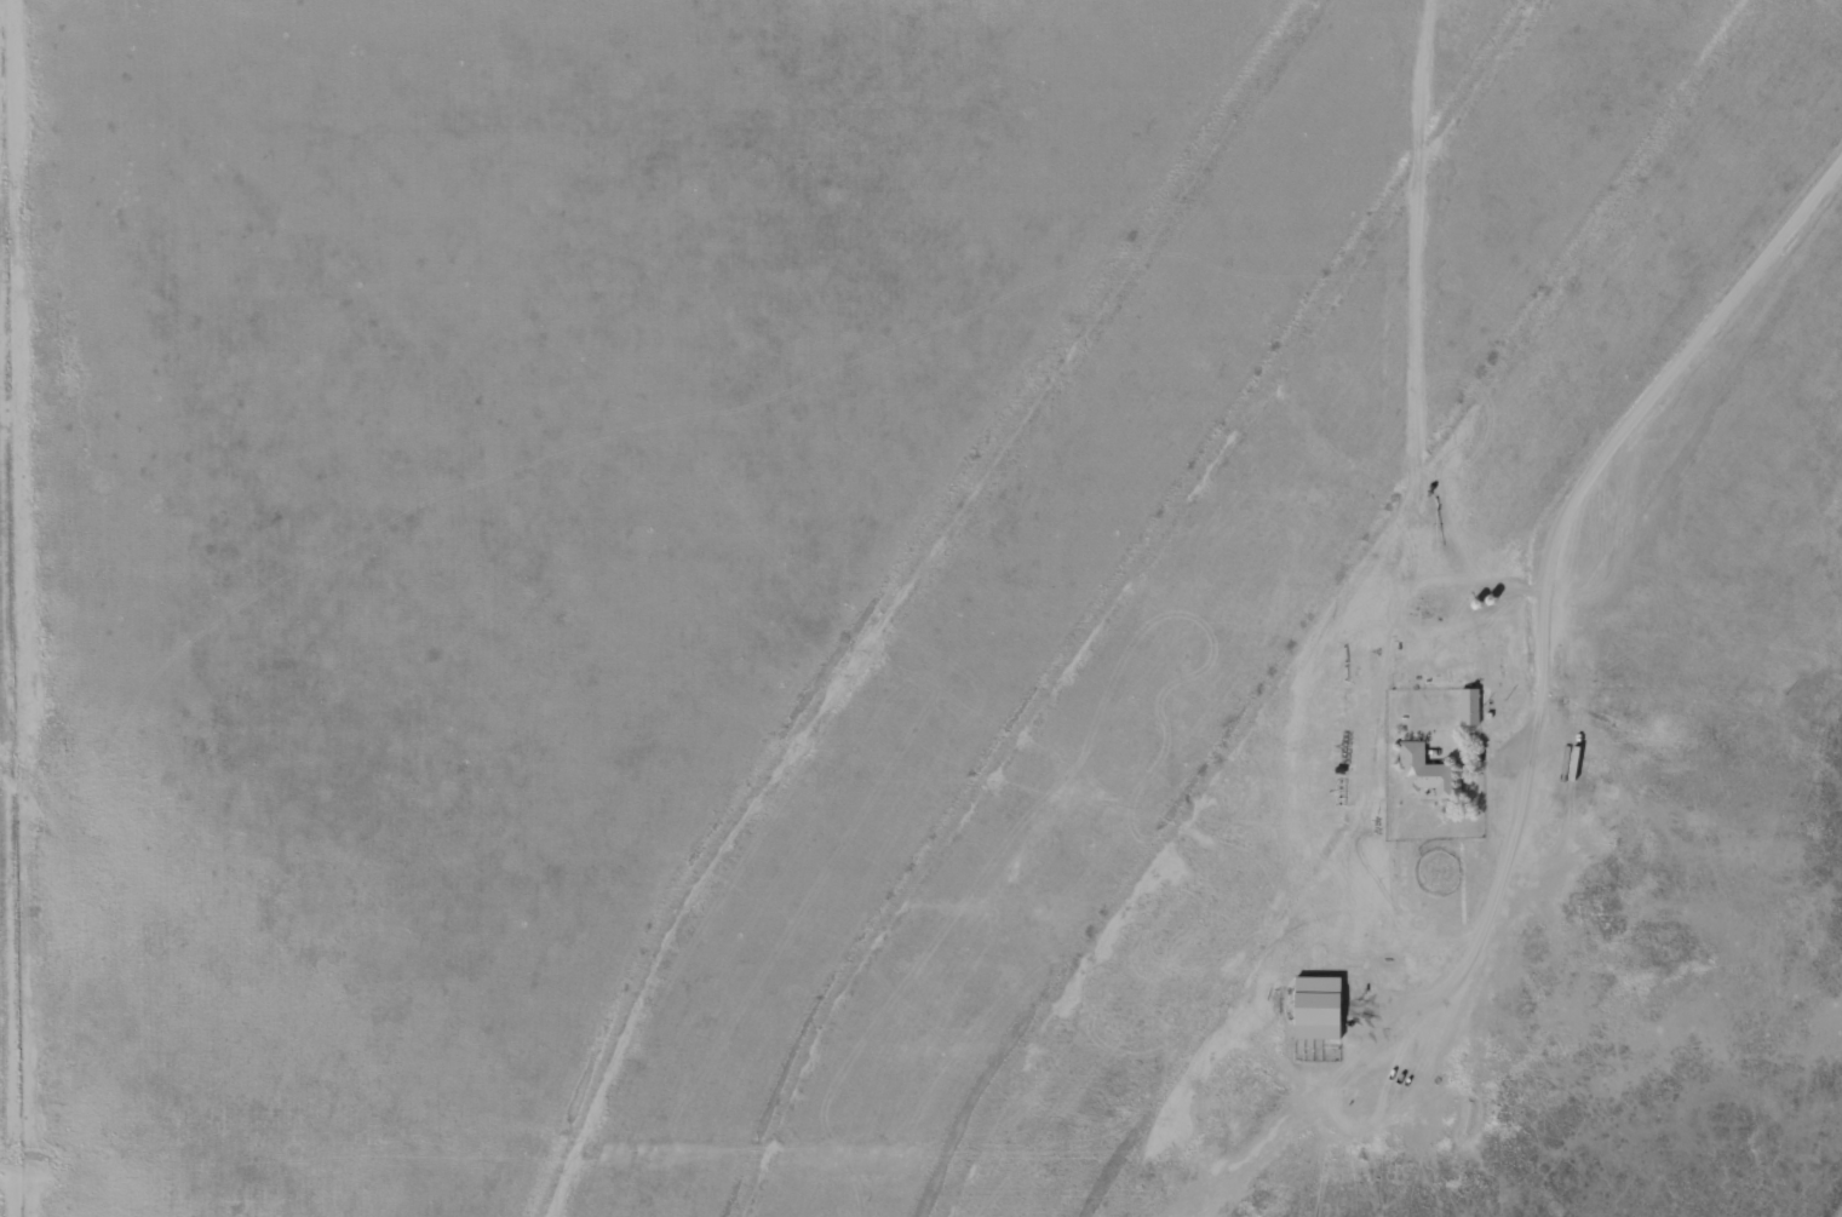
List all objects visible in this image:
building: (1593, 528)
building: (1468, 706)
building: (1423, 771)

